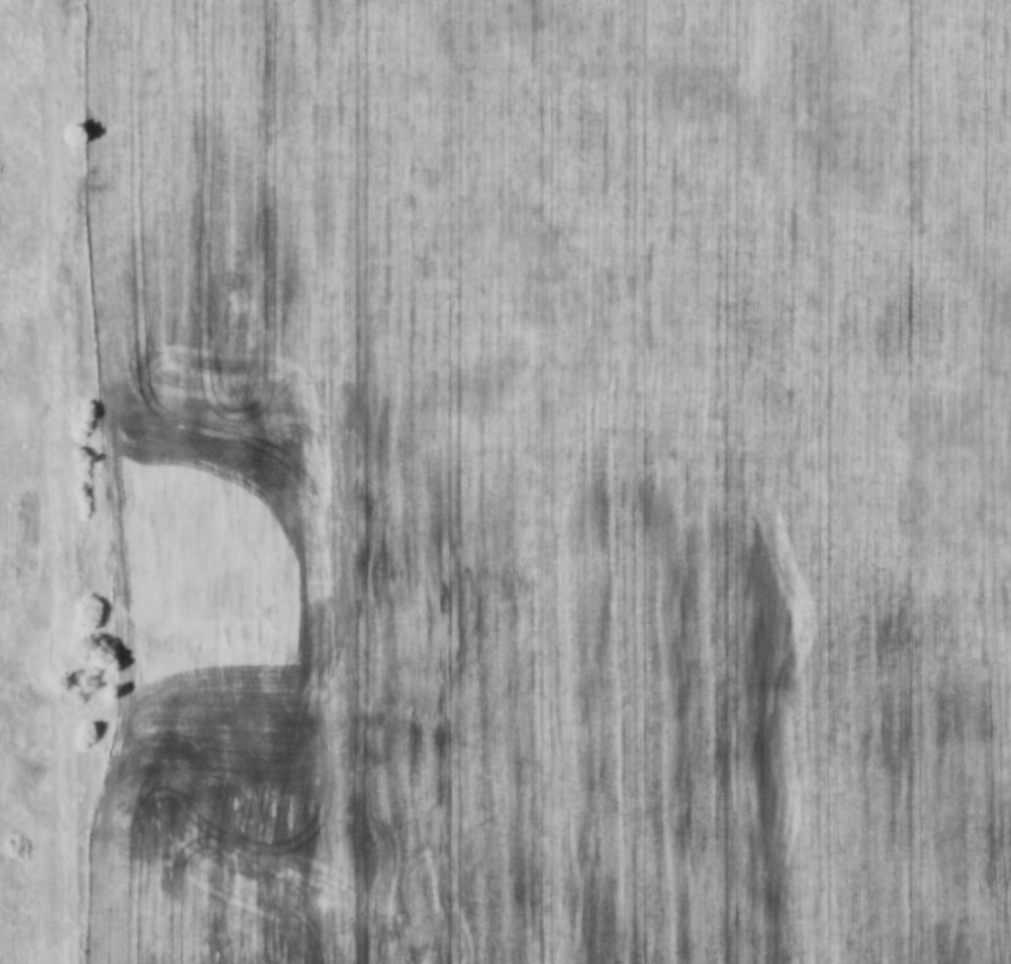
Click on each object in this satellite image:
building: (894, 770)
building: (790, 777)

